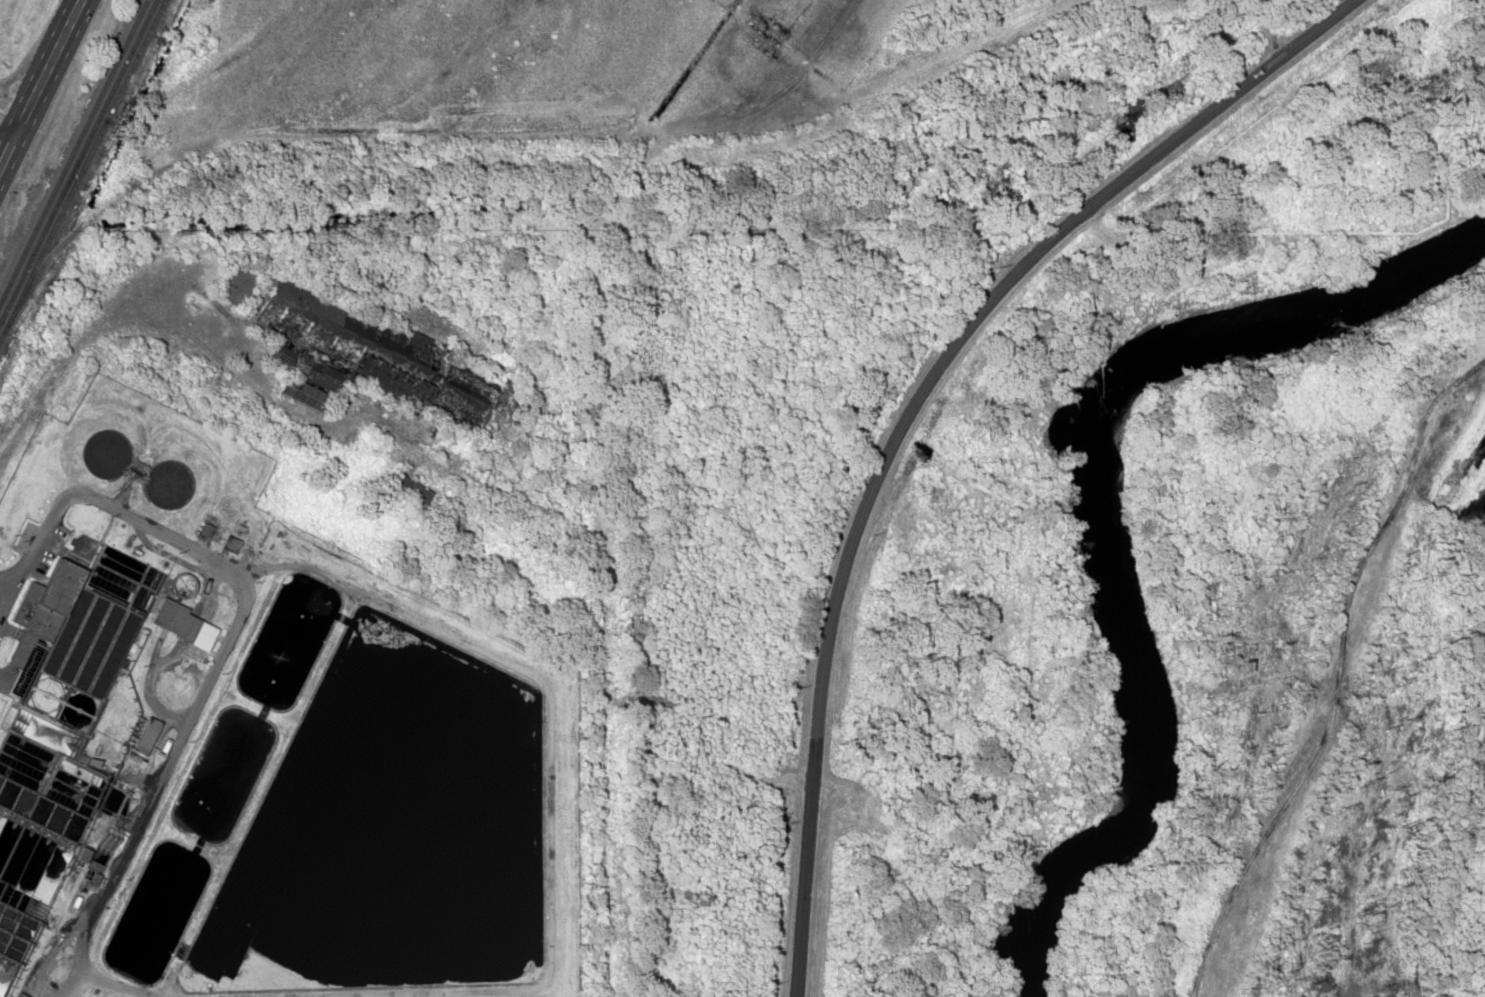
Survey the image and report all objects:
airport: (12, 40)
road: (28, 77)
road: (44, 88)
road: (12, 116)
road: (10, 132)
railway: (73, 150)
railway: (77, 158)
railway: (83, 172)
building: (292, 324)
building: (301, 394)
road: (899, 407)
building: (456, 410)
building: (408, 490)
building: (43, 593)
building: (171, 619)
wastewater plant: (259, 744)
building: (16, 995)

